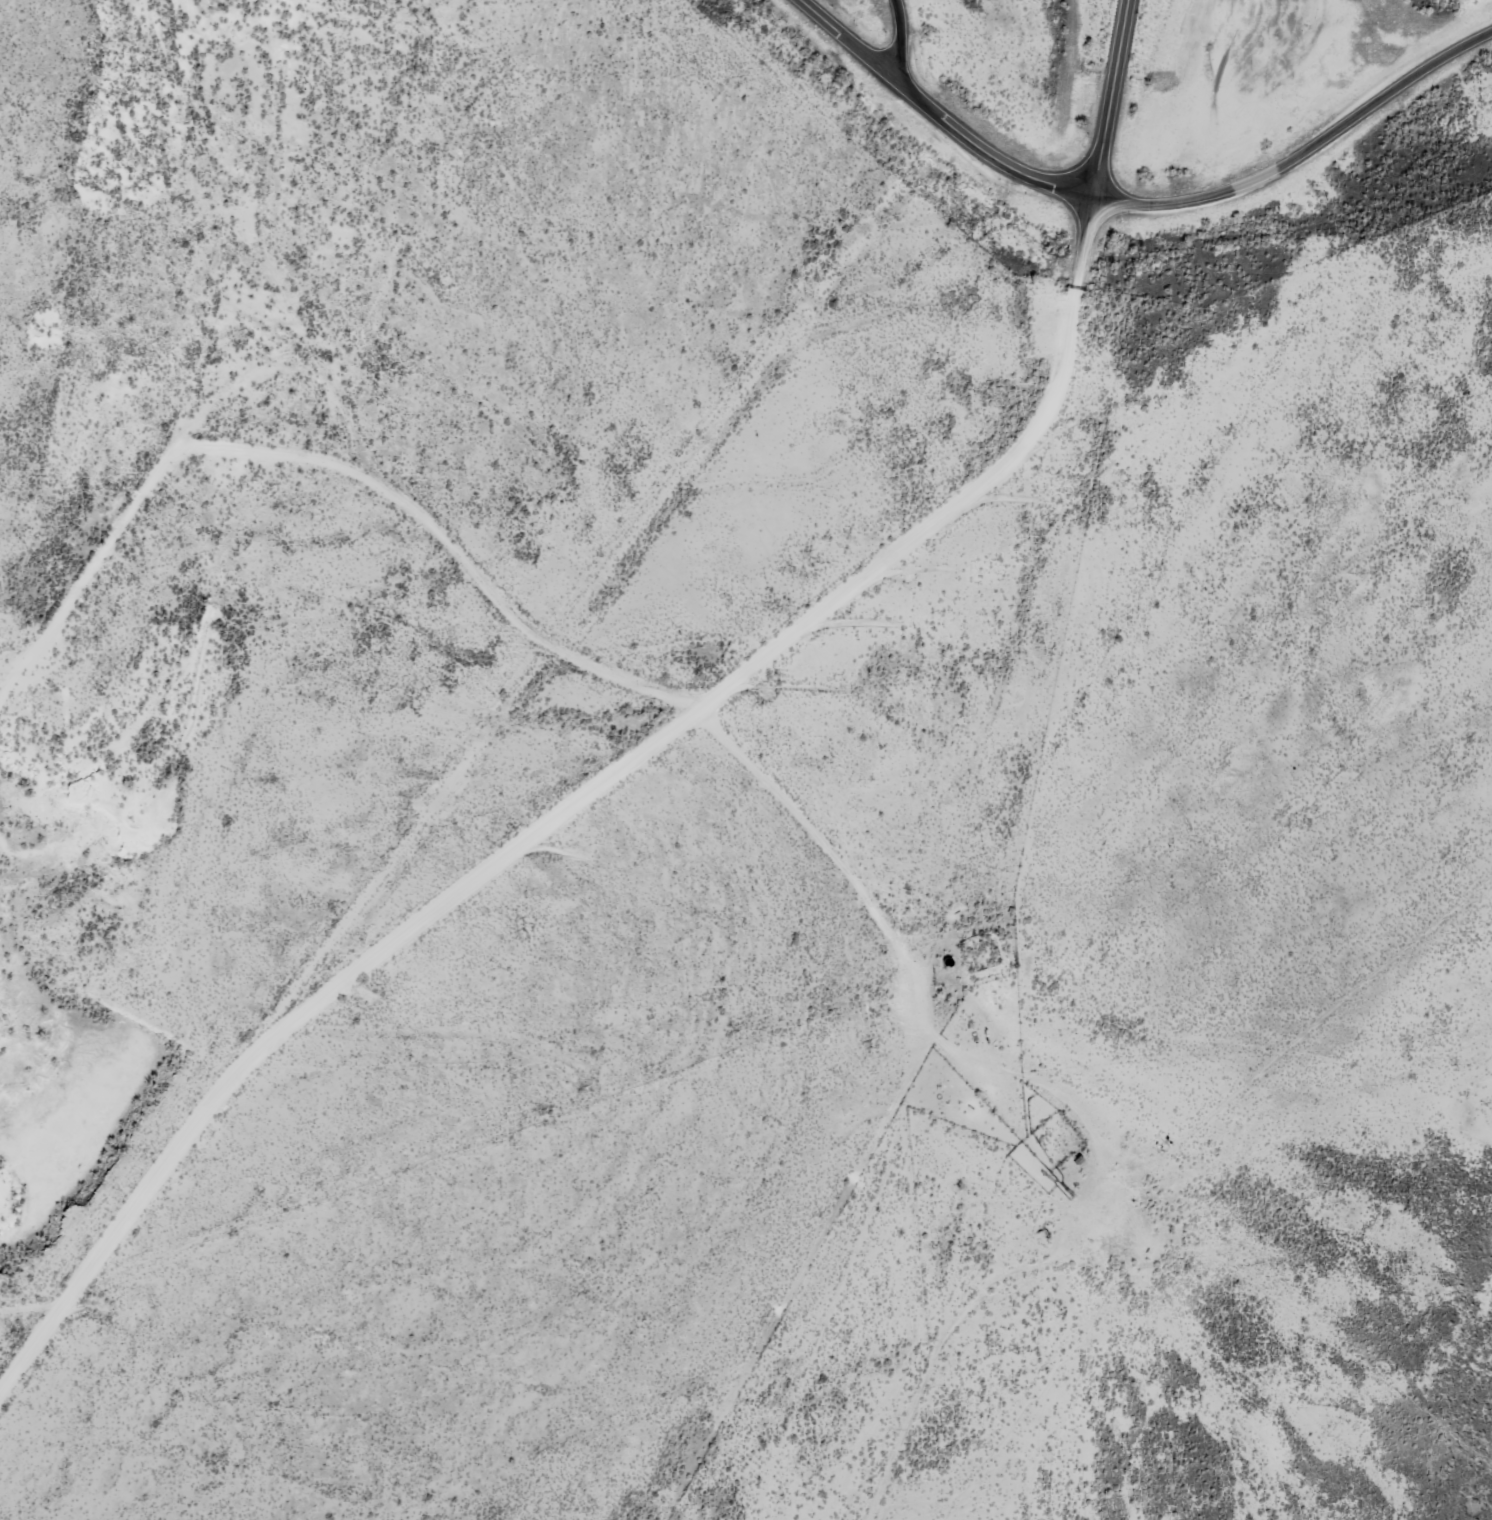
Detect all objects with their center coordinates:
road: (897, 37)
road: (843, 38)
road: (1108, 100)
road: (985, 145)
road: (1303, 153)
road: (566, 814)

